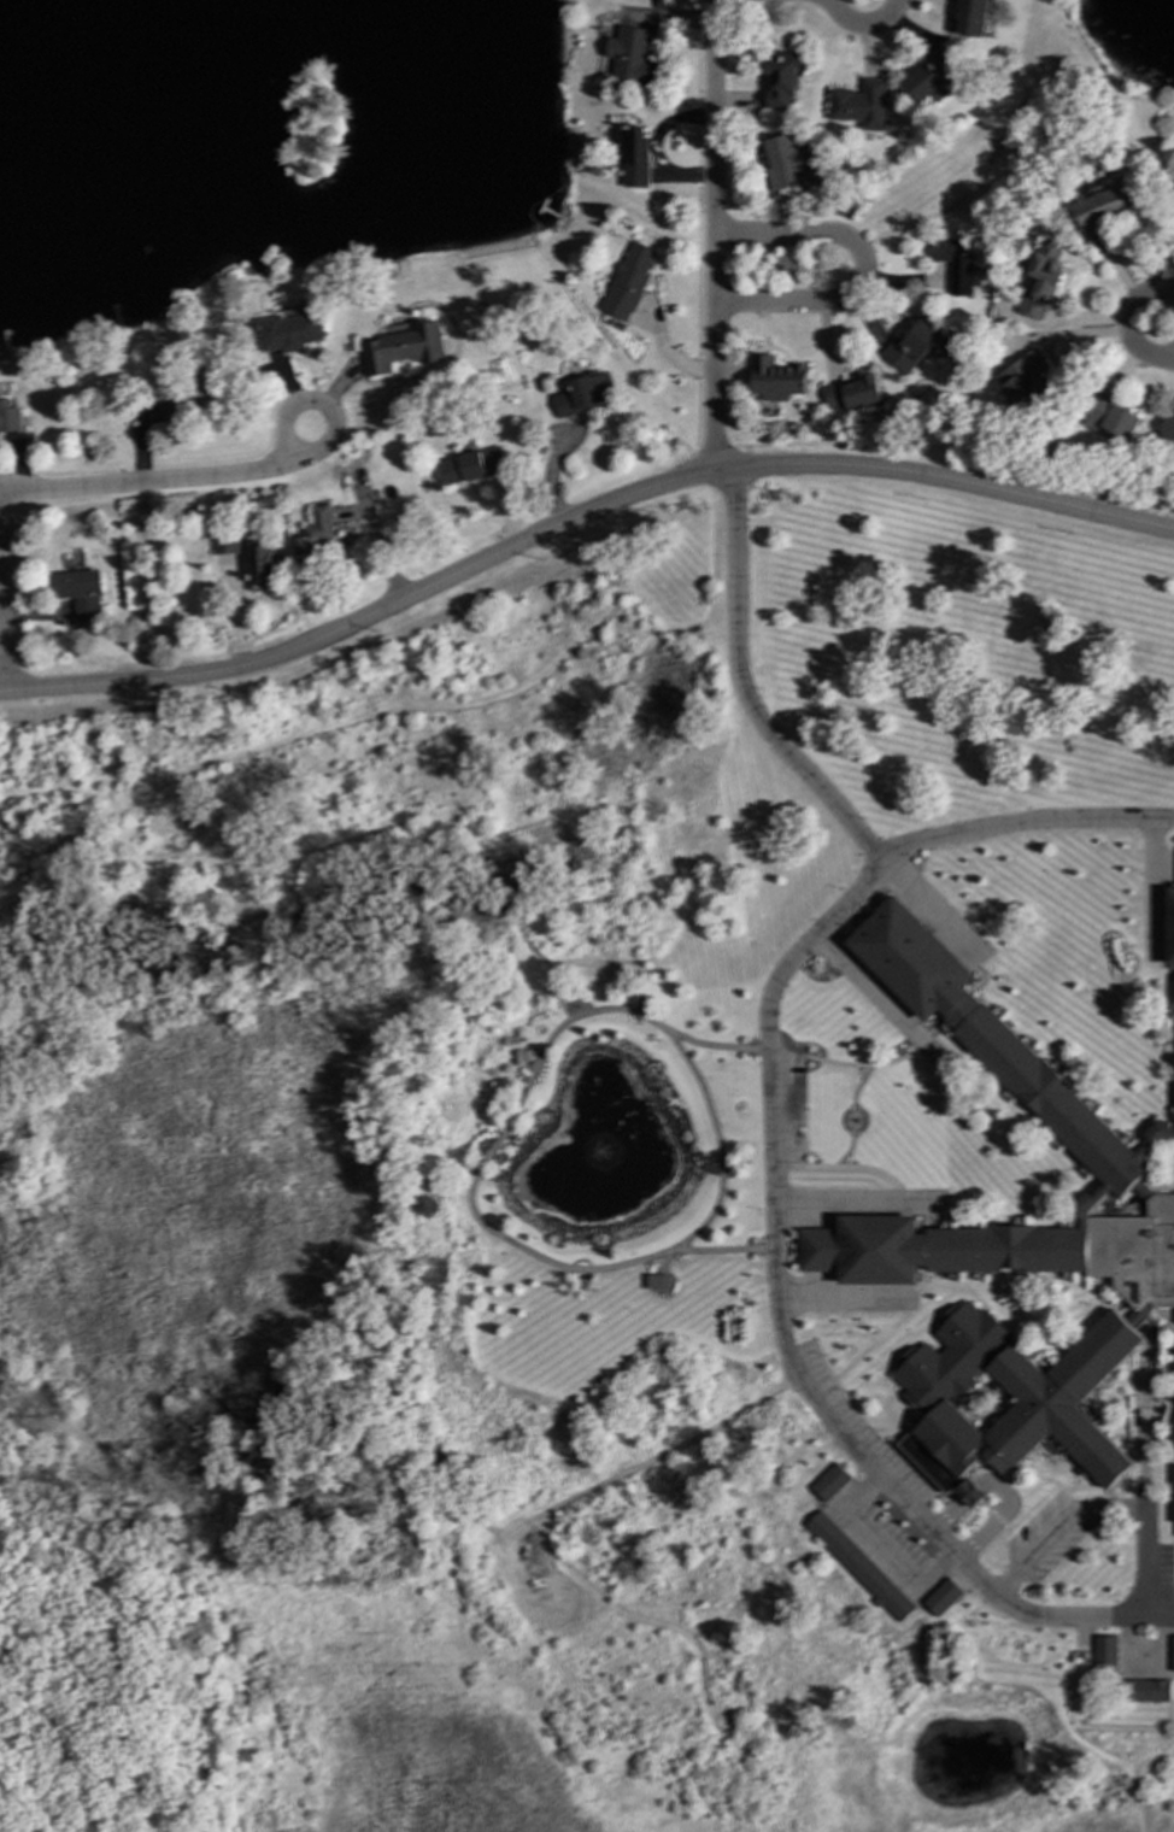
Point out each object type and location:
building: (970, 18)
road: (861, 24)
building: (629, 57)
road: (1099, 66)
building: (931, 76)
building: (780, 78)
building: (859, 105)
building: (630, 157)
road: (990, 157)
building: (782, 160)
building: (1173, 200)
building: (1100, 207)
road: (711, 236)
building: (953, 265)
road: (861, 269)
building: (1040, 278)
building: (627, 281)
road: (1127, 324)
building: (284, 333)
building: (911, 345)
building: (399, 348)
building: (774, 378)
building: (1023, 380)
building: (852, 393)
building: (182, 394)
building: (583, 394)
road: (324, 410)
building: (7, 417)
building: (1111, 421)
building: (1166, 429)
building: (470, 465)
road: (145, 483)
road: (576, 515)
building: (312, 533)
building: (224, 544)
building: (258, 563)
building: (77, 592)
road: (1, 677)
road: (742, 691)
road: (1025, 827)
building: (1170, 927)
road: (770, 1141)
road: (488, 1227)
building: (1008, 1245)
road: (728, 1247)
building: (659, 1281)
road: (1141, 1439)
road: (676, 1448)
building: (830, 1482)
building: (970, 1493)
road: (1056, 1526)
road: (1144, 1563)
building: (861, 1567)
road: (984, 1587)
building: (943, 1597)
building: (1104, 1652)
building: (1172, 1655)
building: (1149, 1691)

